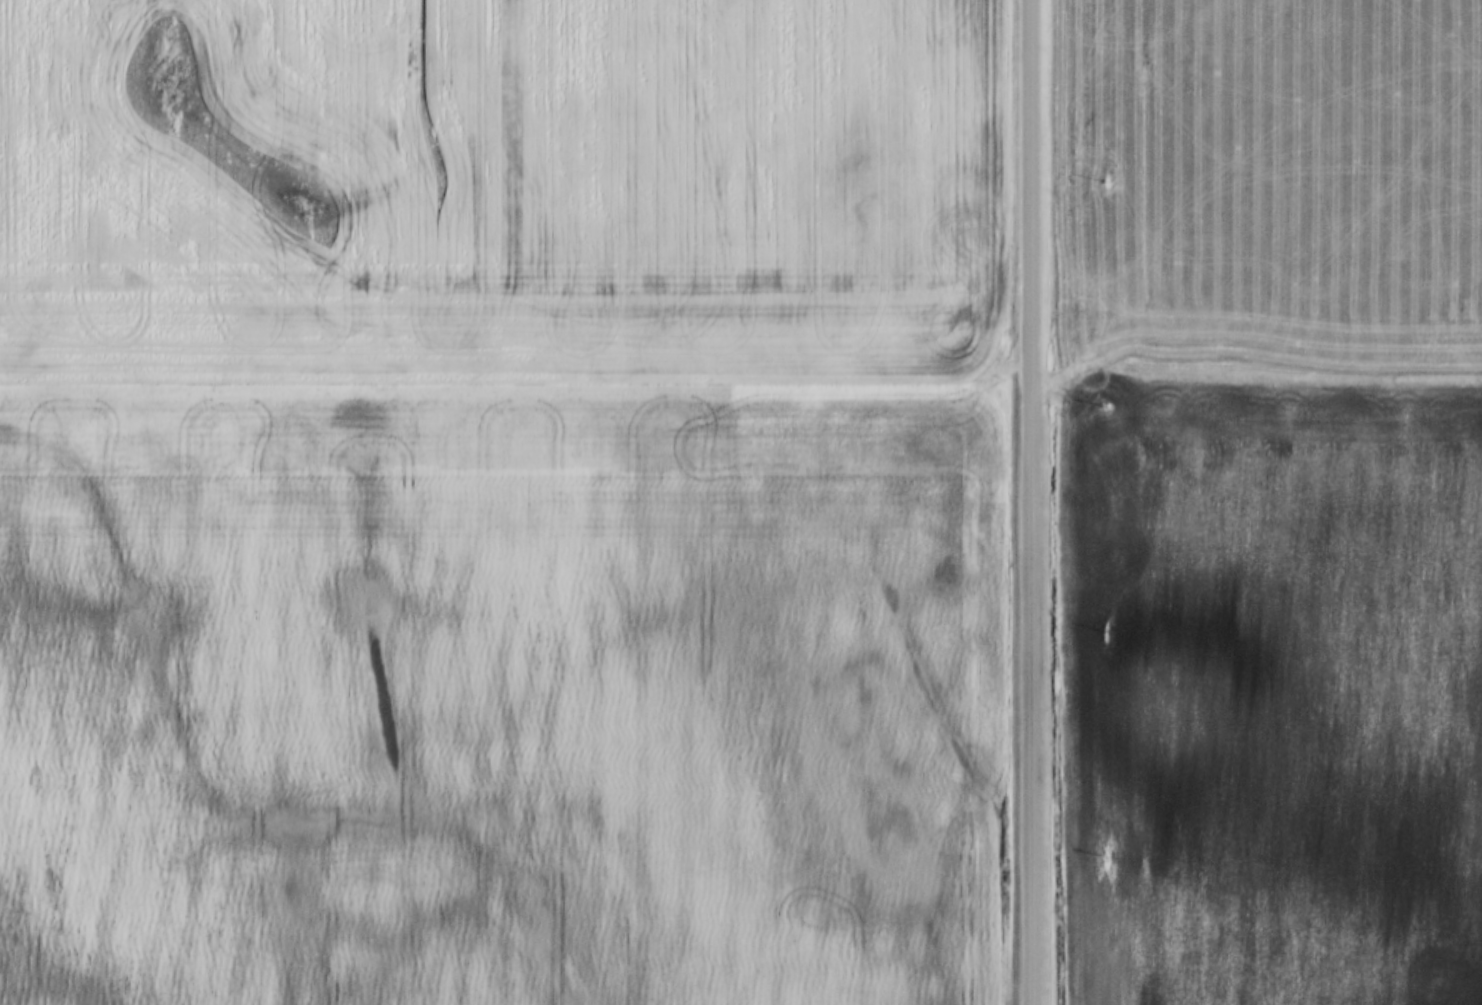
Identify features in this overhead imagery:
road: (1030, 502)

